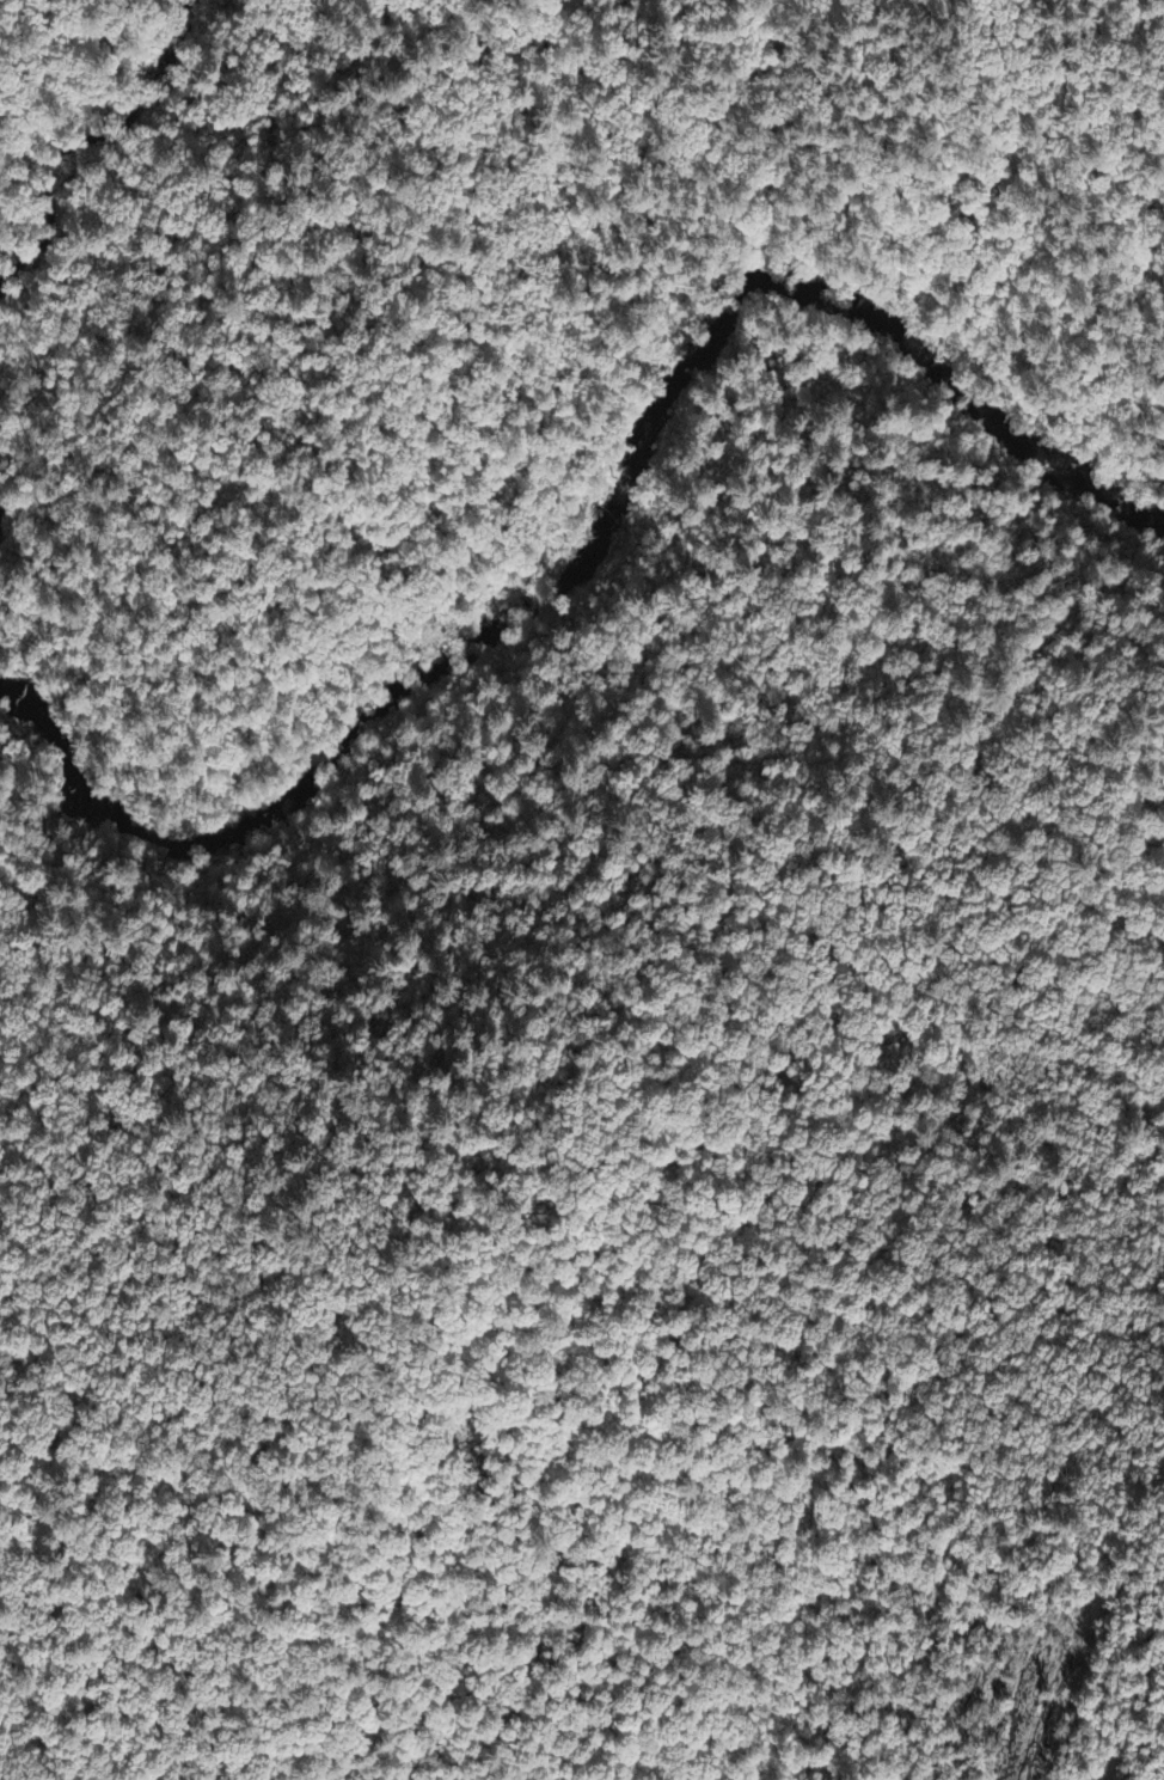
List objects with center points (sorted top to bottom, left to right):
river: (583, 524)

